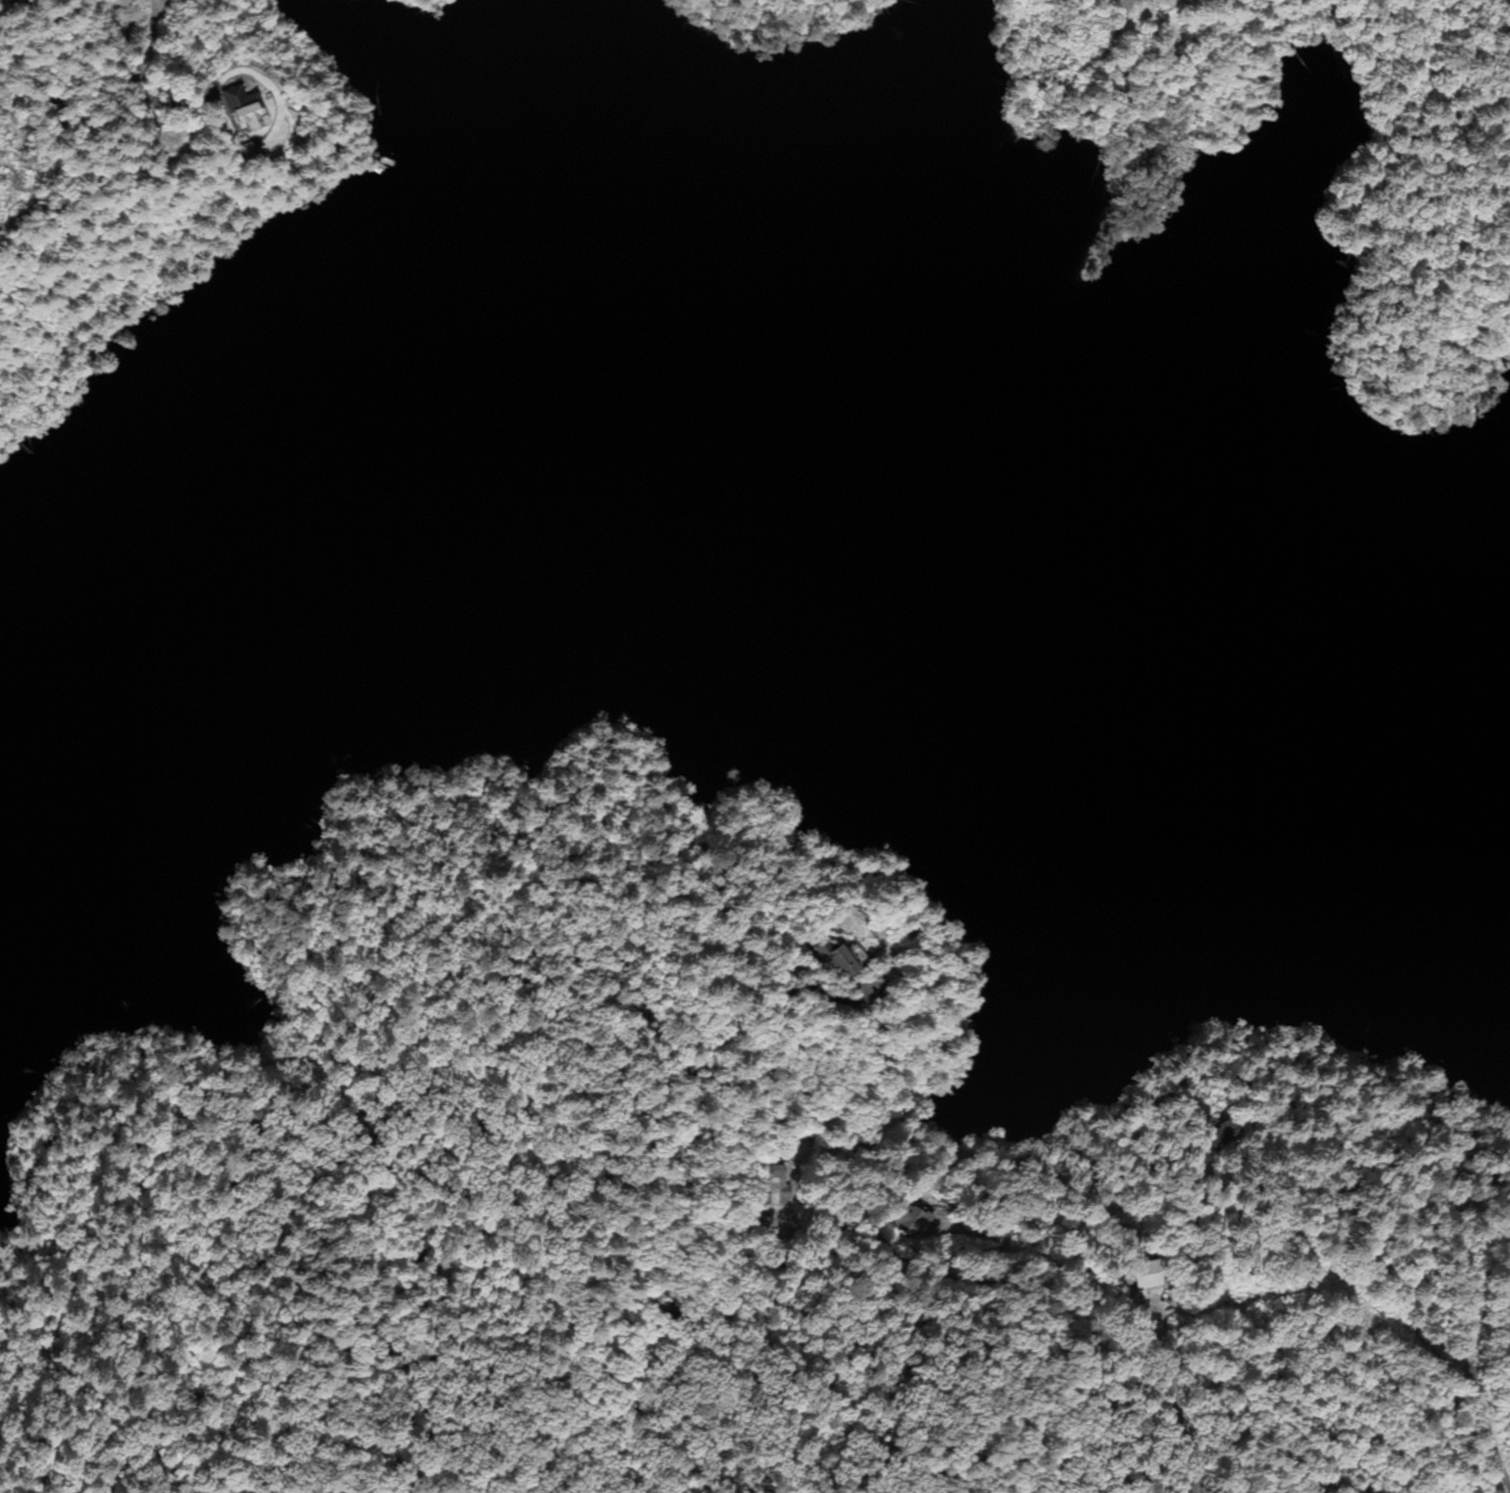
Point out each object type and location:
building: (245, 108)
river: (750, 438)
building: (841, 961)
building: (1145, 1275)
road: (1392, 1306)

